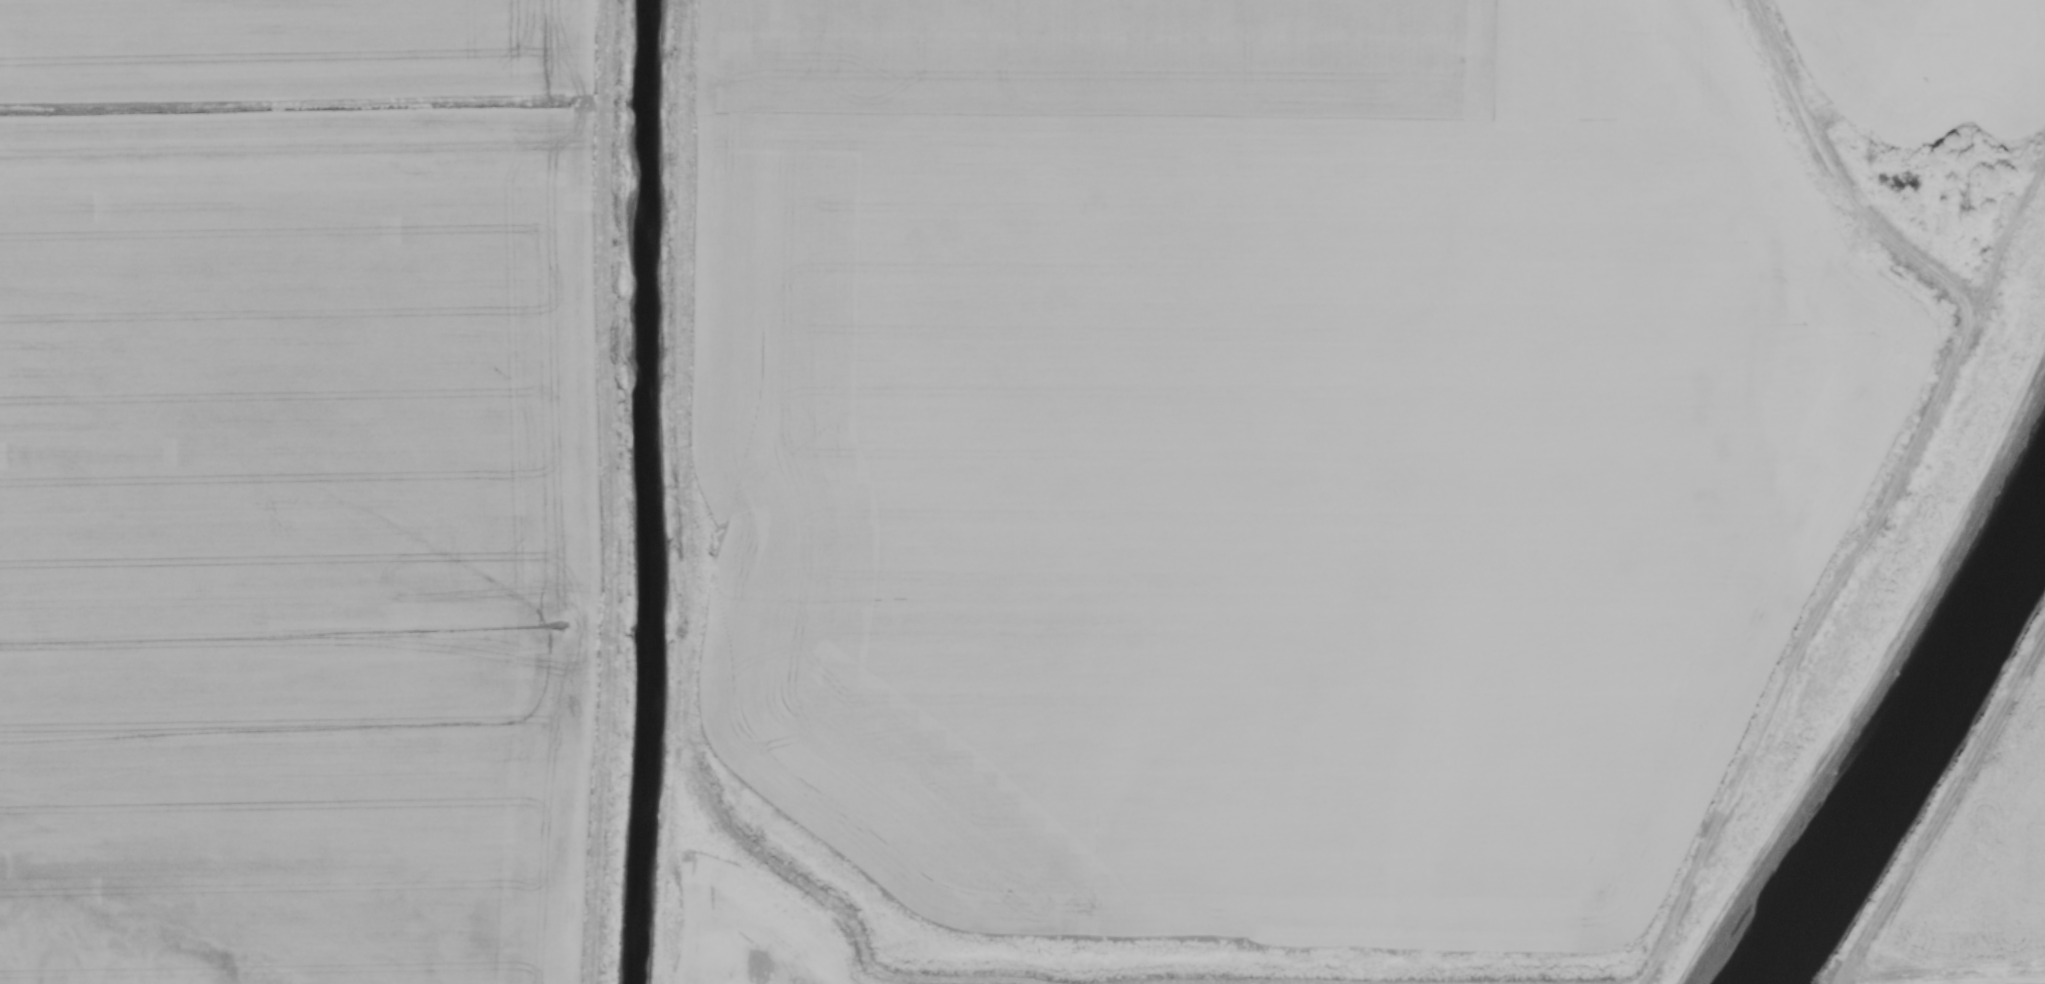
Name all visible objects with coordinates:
road: (1903, 476)
river: (1906, 730)

